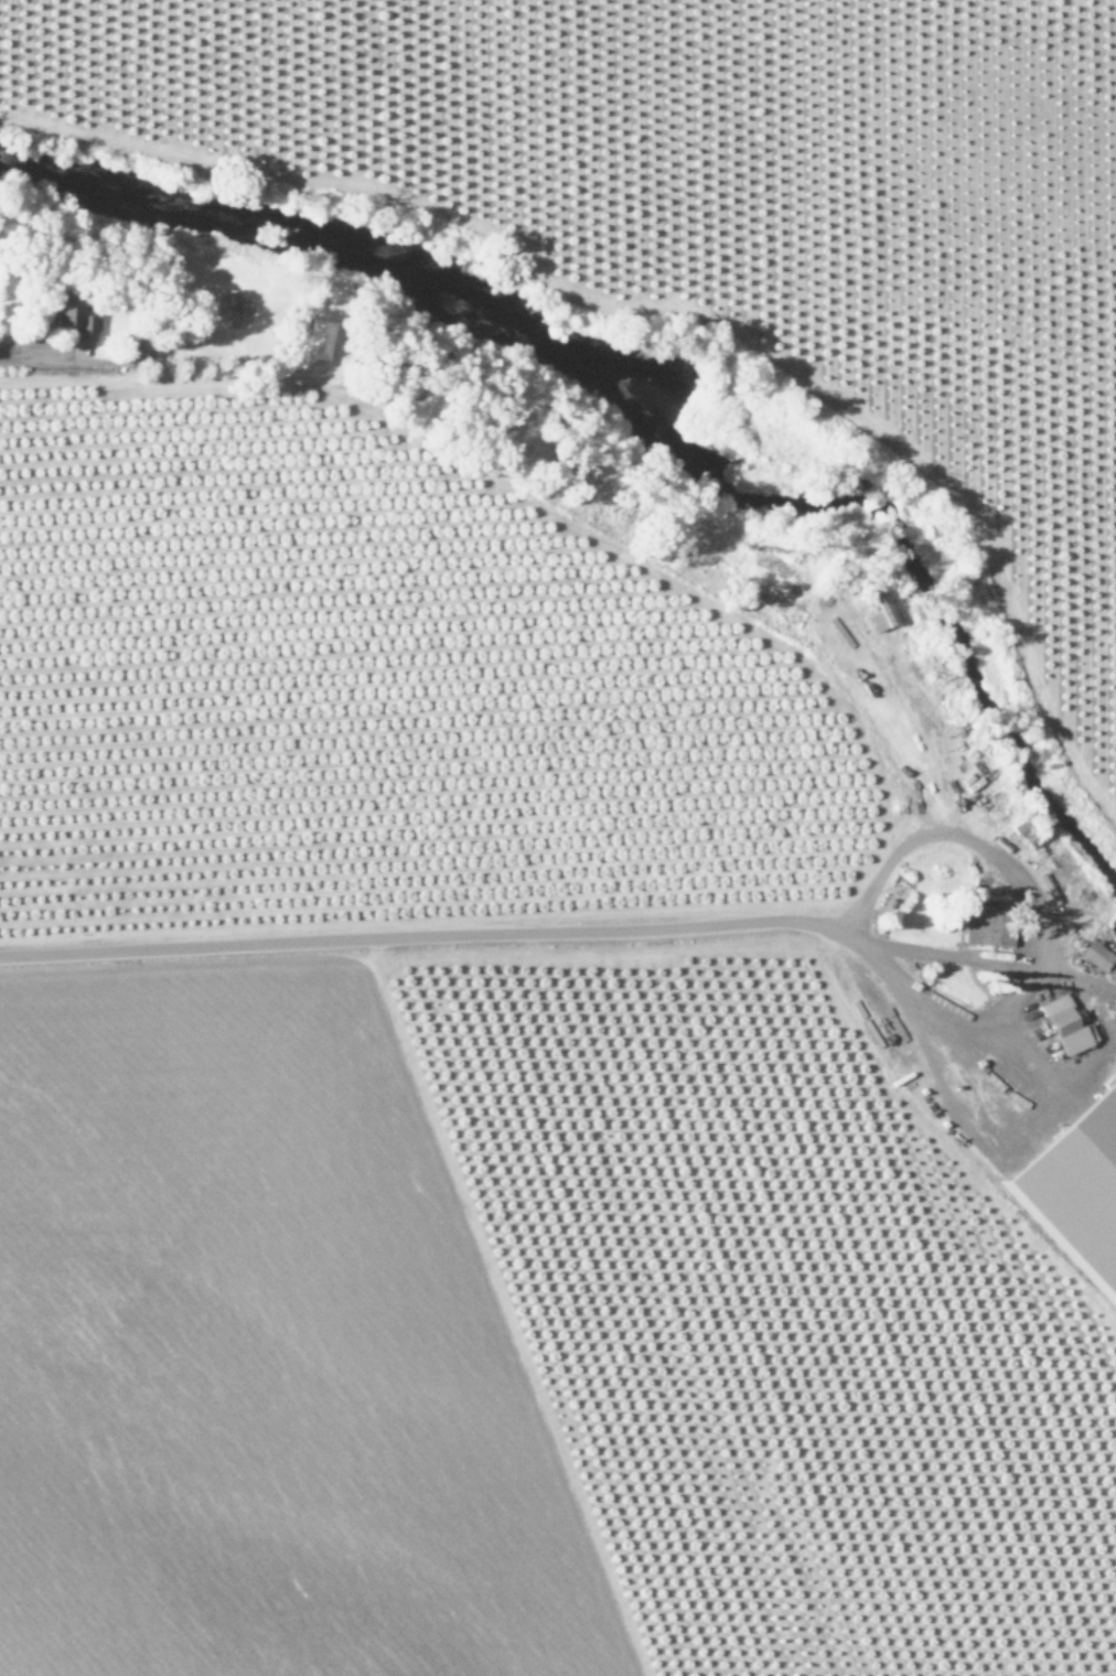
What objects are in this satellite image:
crop: (732, 197)
building: (62, 308)
building: (85, 327)
building: (989, 927)
road: (498, 937)
building: (1065, 1025)
crop: (504, 1110)
building: (1076, 1184)

